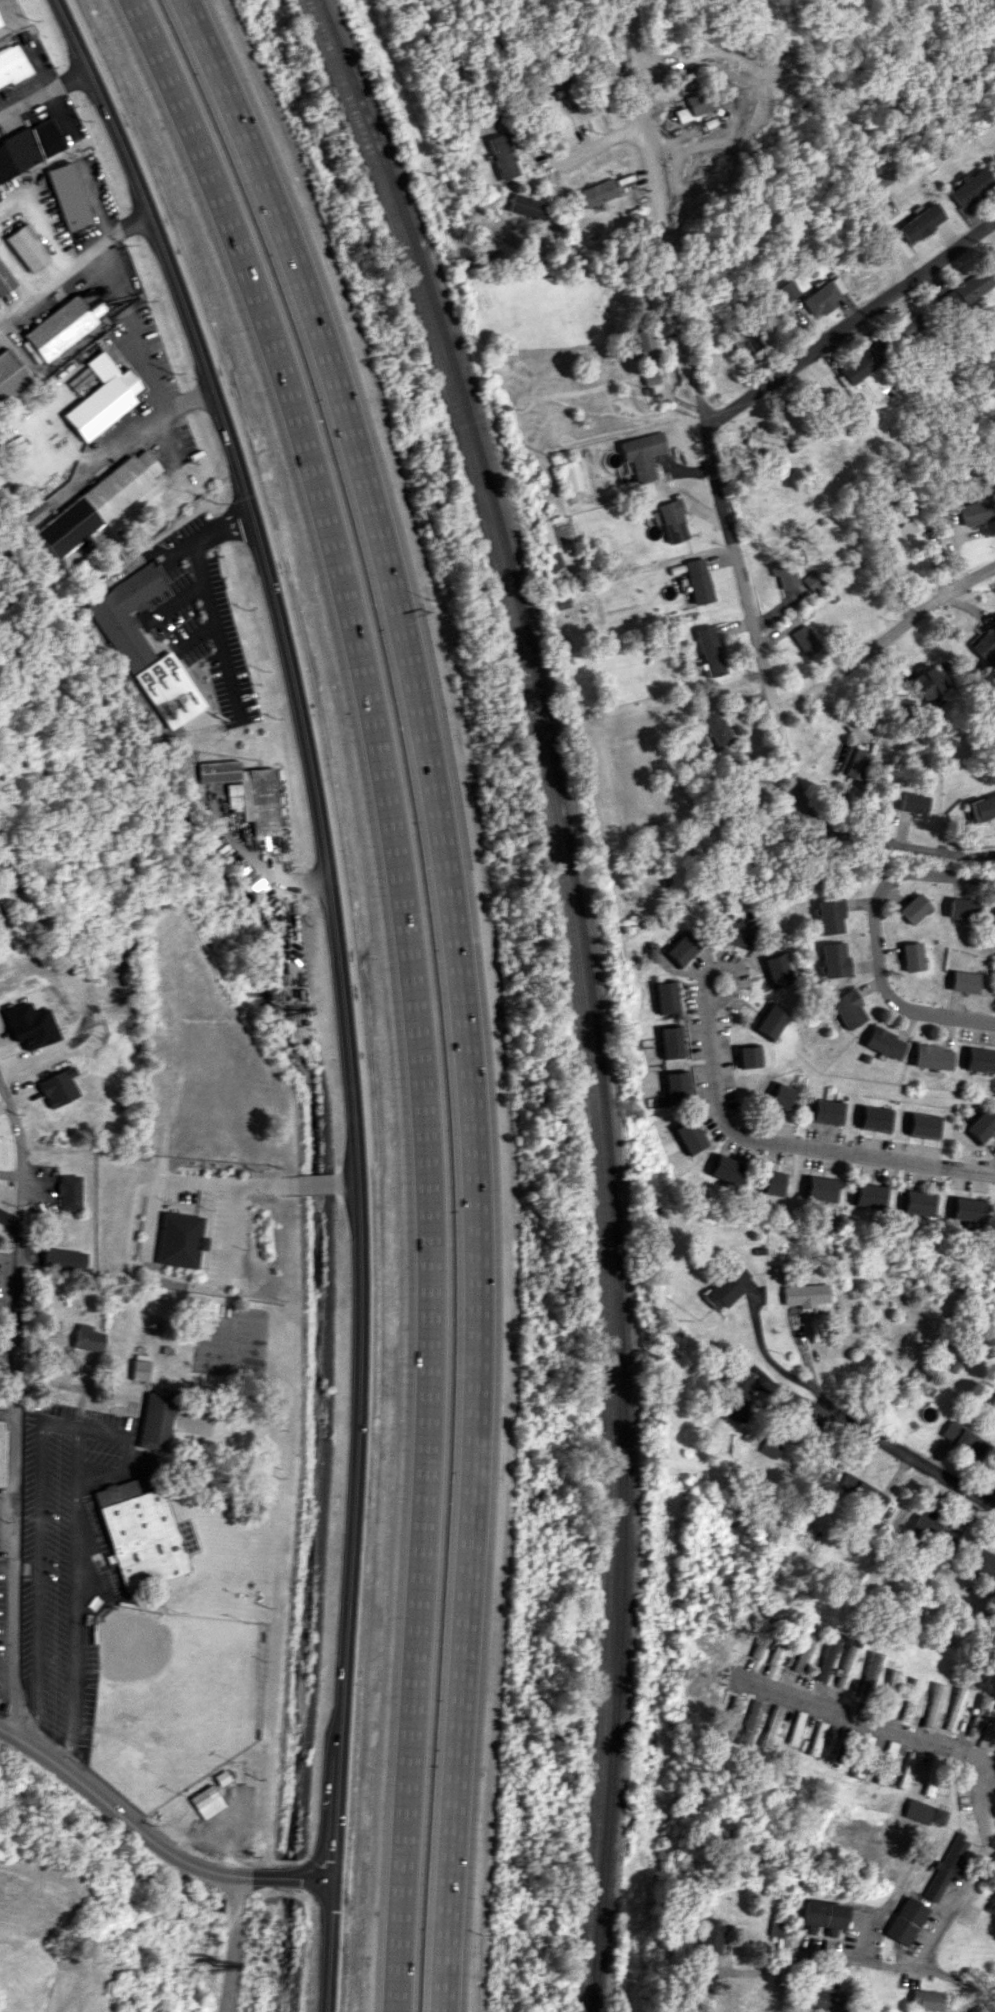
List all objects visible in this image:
building: (603, 49)
road: (732, 58)
building: (12, 65)
building: (564, 87)
road: (41, 94)
building: (694, 104)
building: (28, 148)
road: (597, 150)
building: (501, 156)
building: (967, 186)
building: (595, 192)
building: (67, 196)
building: (525, 206)
road: (657, 214)
building: (920, 222)
road: (39, 223)
building: (24, 248)
road: (74, 263)
road: (16, 270)
building: (5, 279)
building: (969, 288)
building: (787, 290)
building: (824, 296)
road: (129, 310)
building: (64, 323)
road: (852, 325)
building: (910, 326)
building: (747, 340)
building: (642, 341)
building: (865, 361)
building: (11, 375)
building: (650, 379)
building: (101, 398)
road: (149, 420)
road: (709, 436)
building: (762, 441)
building: (642, 454)
building: (571, 477)
building: (94, 503)
building: (975, 510)
building: (673, 520)
building: (903, 534)
building: (783, 573)
road: (205, 580)
building: (698, 580)
building: (812, 580)
building: (125, 615)
road: (883, 638)
building: (804, 639)
road: (756, 642)
building: (985, 642)
building: (709, 650)
building: (925, 683)
building: (168, 690)
building: (715, 727)
building: (849, 762)
building: (244, 792)
building: (911, 802)
building: (980, 808)
road: (904, 847)
building: (676, 866)
road: (259, 867)
building: (913, 908)
building: (960, 908)
building: (829, 916)
building: (992, 918)
building: (735, 932)
road: (874, 941)
building: (681, 948)
building: (649, 956)
building: (912, 956)
building: (834, 959)
road: (724, 967)
building: (777, 969)
road: (341, 981)
building: (964, 981)
road: (412, 984)
road: (460, 985)
railway: (574, 988)
building: (664, 996)
building: (847, 1009)
building: (770, 1021)
building: (29, 1025)
building: (670, 1041)
building: (883, 1043)
building: (748, 1055)
building: (931, 1057)
building: (978, 1059)
building: (56, 1087)
building: (677, 1087)
building: (779, 1095)
building: (826, 1111)
building: (875, 1118)
building: (923, 1125)
building: (981, 1125)
building: (688, 1136)
road: (793, 1144)
road: (83, 1156)
building: (725, 1169)
road: (992, 1170)
road: (346, 1180)
road: (184, 1182)
building: (771, 1182)
road: (306, 1183)
building: (820, 1187)
building: (66, 1192)
building: (868, 1195)
building: (916, 1202)
building: (965, 1209)
road: (229, 1226)
building: (179, 1240)
building: (61, 1259)
building: (725, 1287)
building: (804, 1294)
building: (85, 1338)
road: (775, 1364)
building: (139, 1370)
building: (740, 1391)
building: (993, 1402)
road: (16, 1407)
road: (8, 1416)
building: (171, 1420)
road: (67, 1425)
building: (962, 1438)
building: (770, 1444)
road: (128, 1452)
road: (910, 1457)
building: (861, 1491)
road: (991, 1495)
building: (139, 1533)
building: (947, 1543)
road: (9, 1562)
building: (983, 1562)
building: (756, 1644)
building: (776, 1647)
building: (802, 1652)
building: (826, 1656)
building: (846, 1663)
building: (868, 1674)
building: (888, 1690)
building: (909, 1699)
building: (932, 1705)
building: (953, 1709)
building: (976, 1716)
road: (864, 1721)
building: (749, 1723)
building: (770, 1726)
building: (795, 1727)
building: (816, 1738)
building: (889, 1754)
building: (906, 1770)
building: (205, 1801)
road: (114, 1807)
building: (922, 1812)
road: (319, 1853)
building: (946, 1867)
road: (975, 1870)
road: (245, 1876)
road: (274, 1879)
road: (313, 1882)
building: (991, 1905)
building: (821, 1915)
building: (906, 1921)
building: (774, 1930)
building: (709, 1936)
road: (224, 1943)
road: (889, 1960)
building: (820, 1999)
building: (924, 1999)

